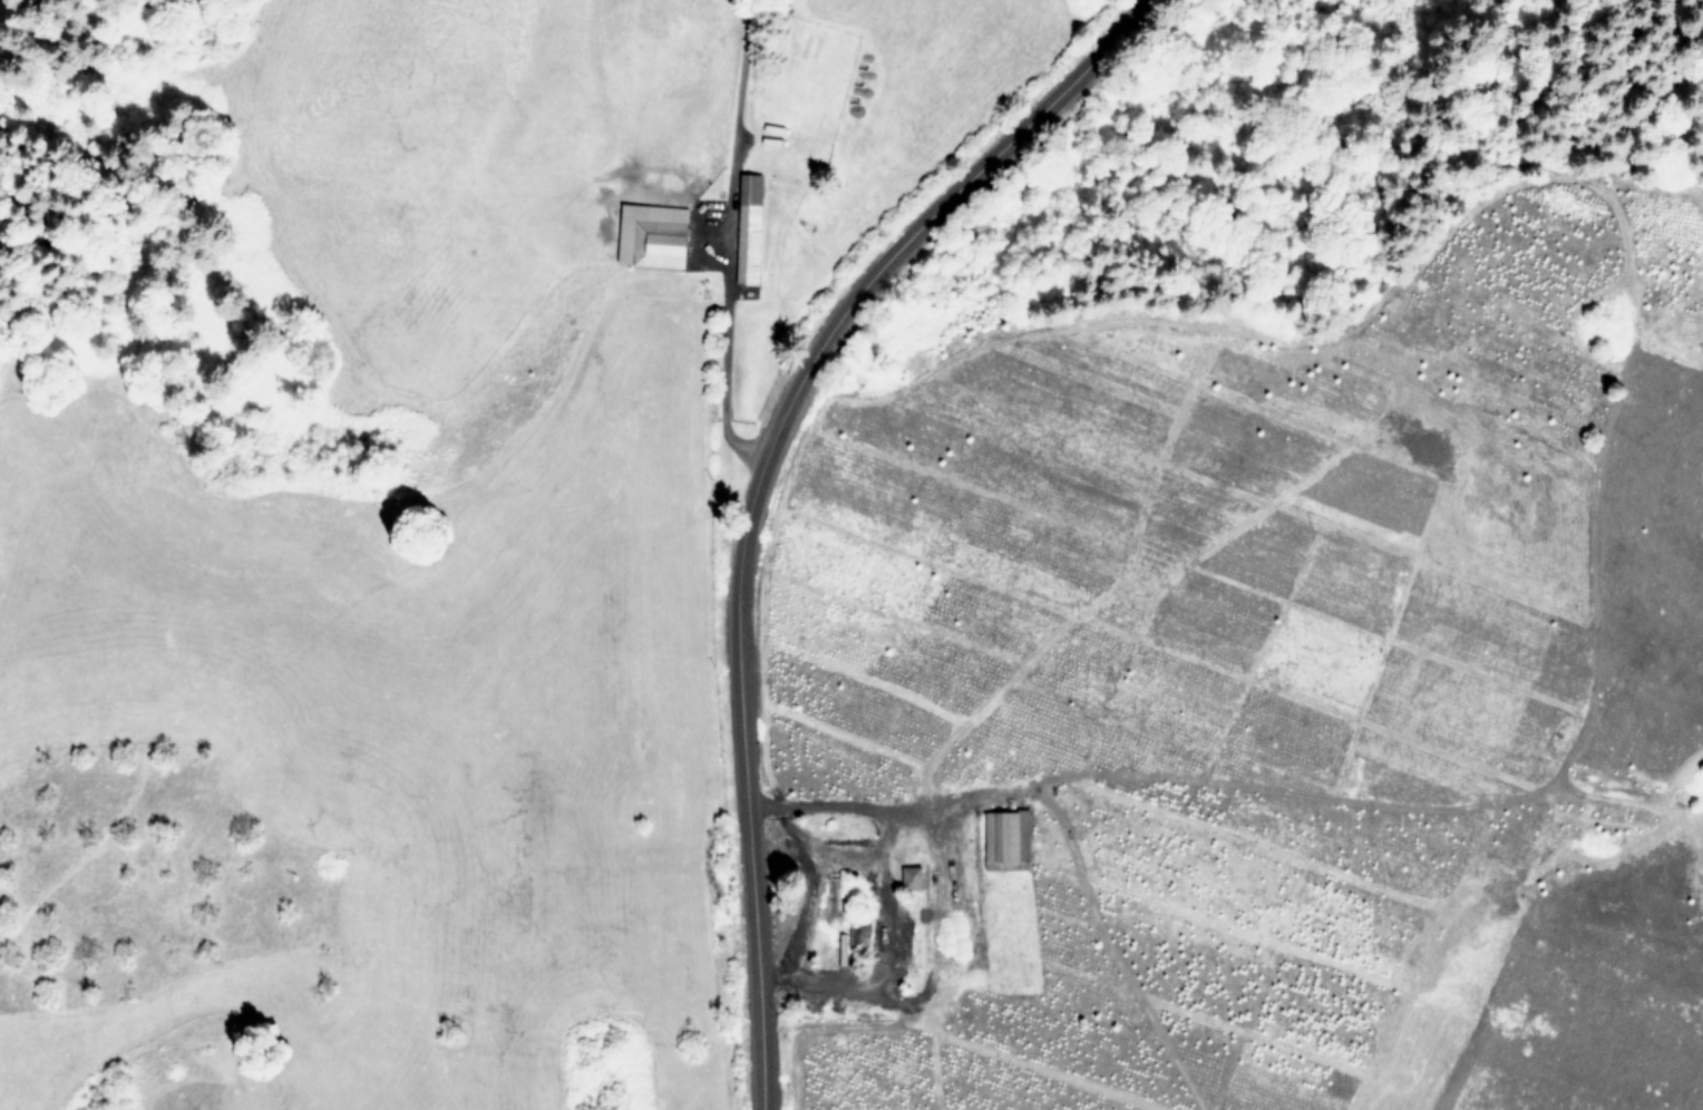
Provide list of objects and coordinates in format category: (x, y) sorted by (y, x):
building: (749, 228)
building: (653, 234)
road: (749, 485)
building: (1006, 834)
road: (870, 858)
building: (912, 874)
road: (798, 924)

